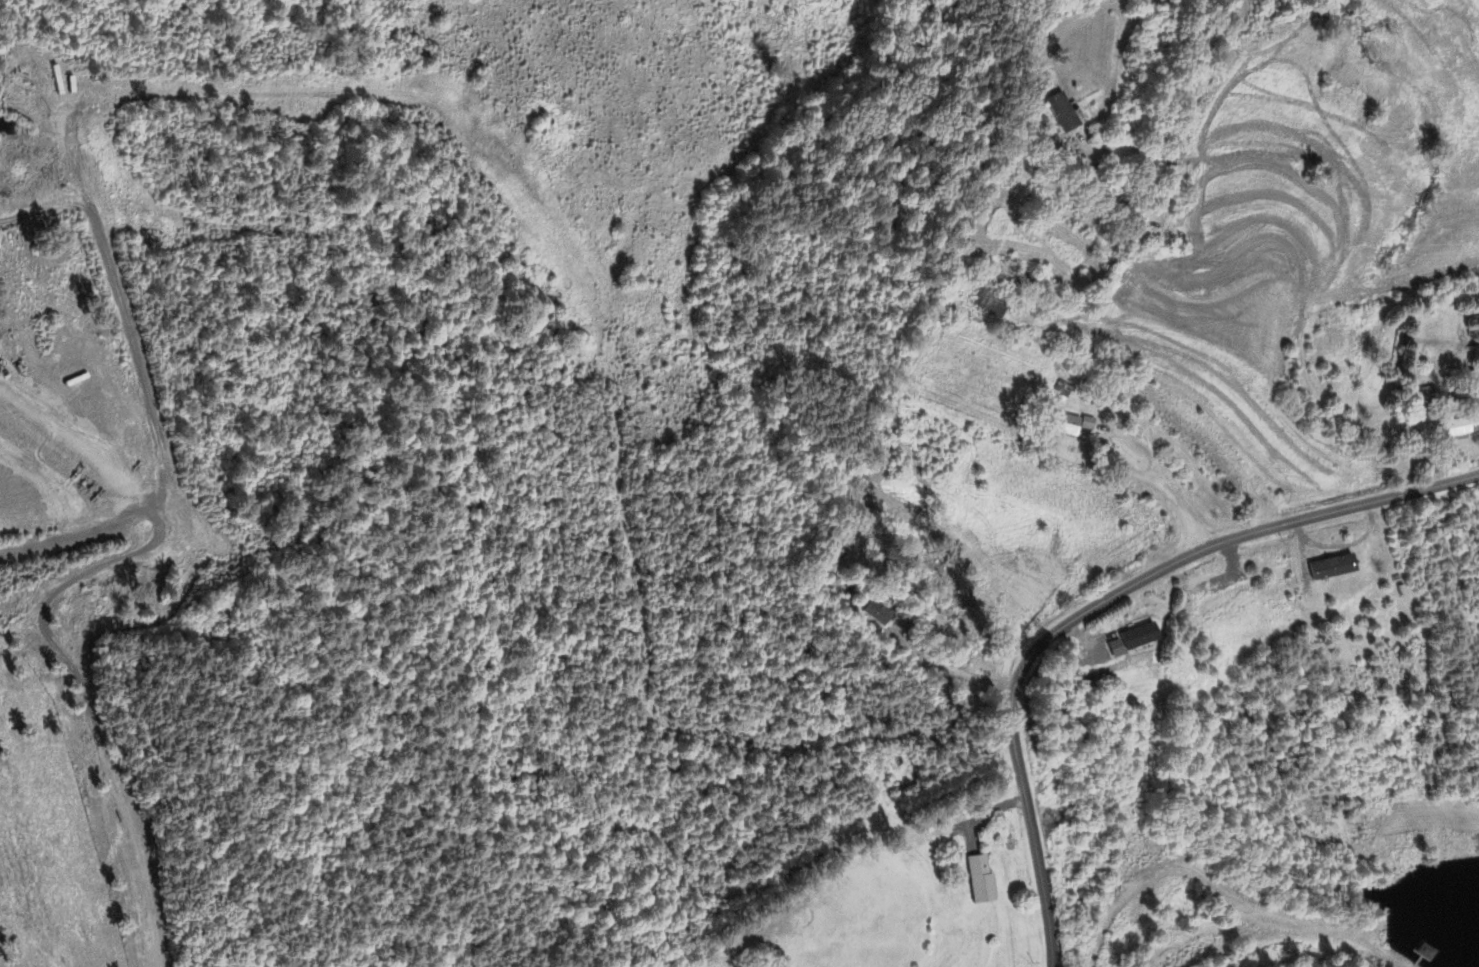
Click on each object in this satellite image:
building: (1062, 113)
road: (1187, 115)
building: (991, 303)
building: (1082, 424)
building: (1059, 425)
building: (1458, 426)
road: (1171, 483)
road: (117, 560)
building: (1330, 568)
road: (1097, 605)
building: (873, 614)
building: (1133, 641)
road: (946, 667)
road: (137, 852)
building: (978, 881)

